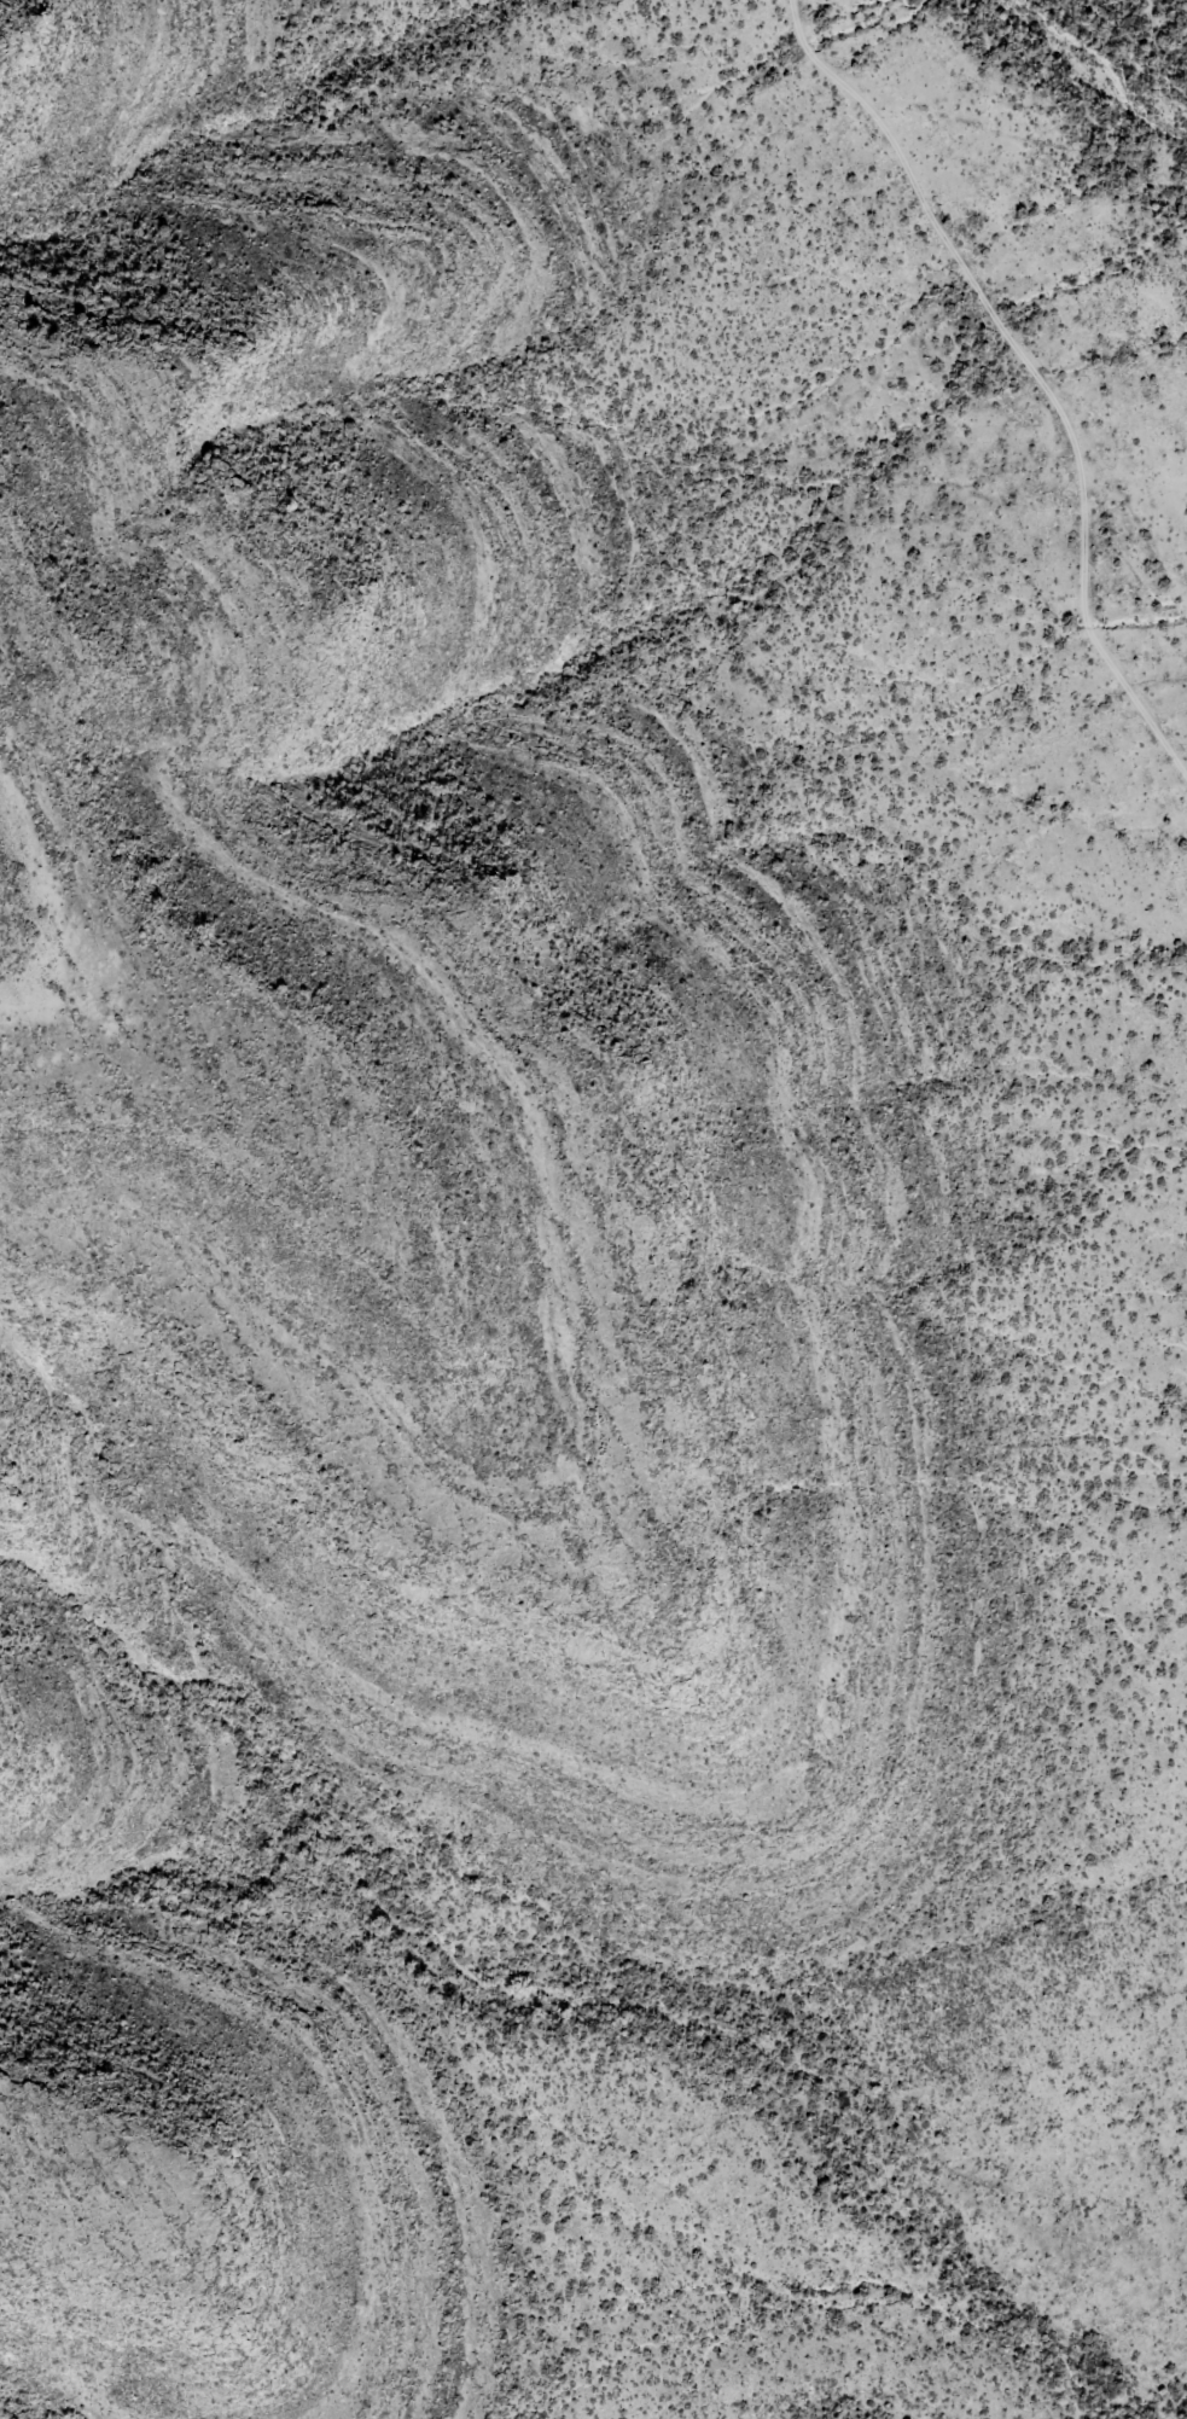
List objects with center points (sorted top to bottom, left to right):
road: (1032, 370)

